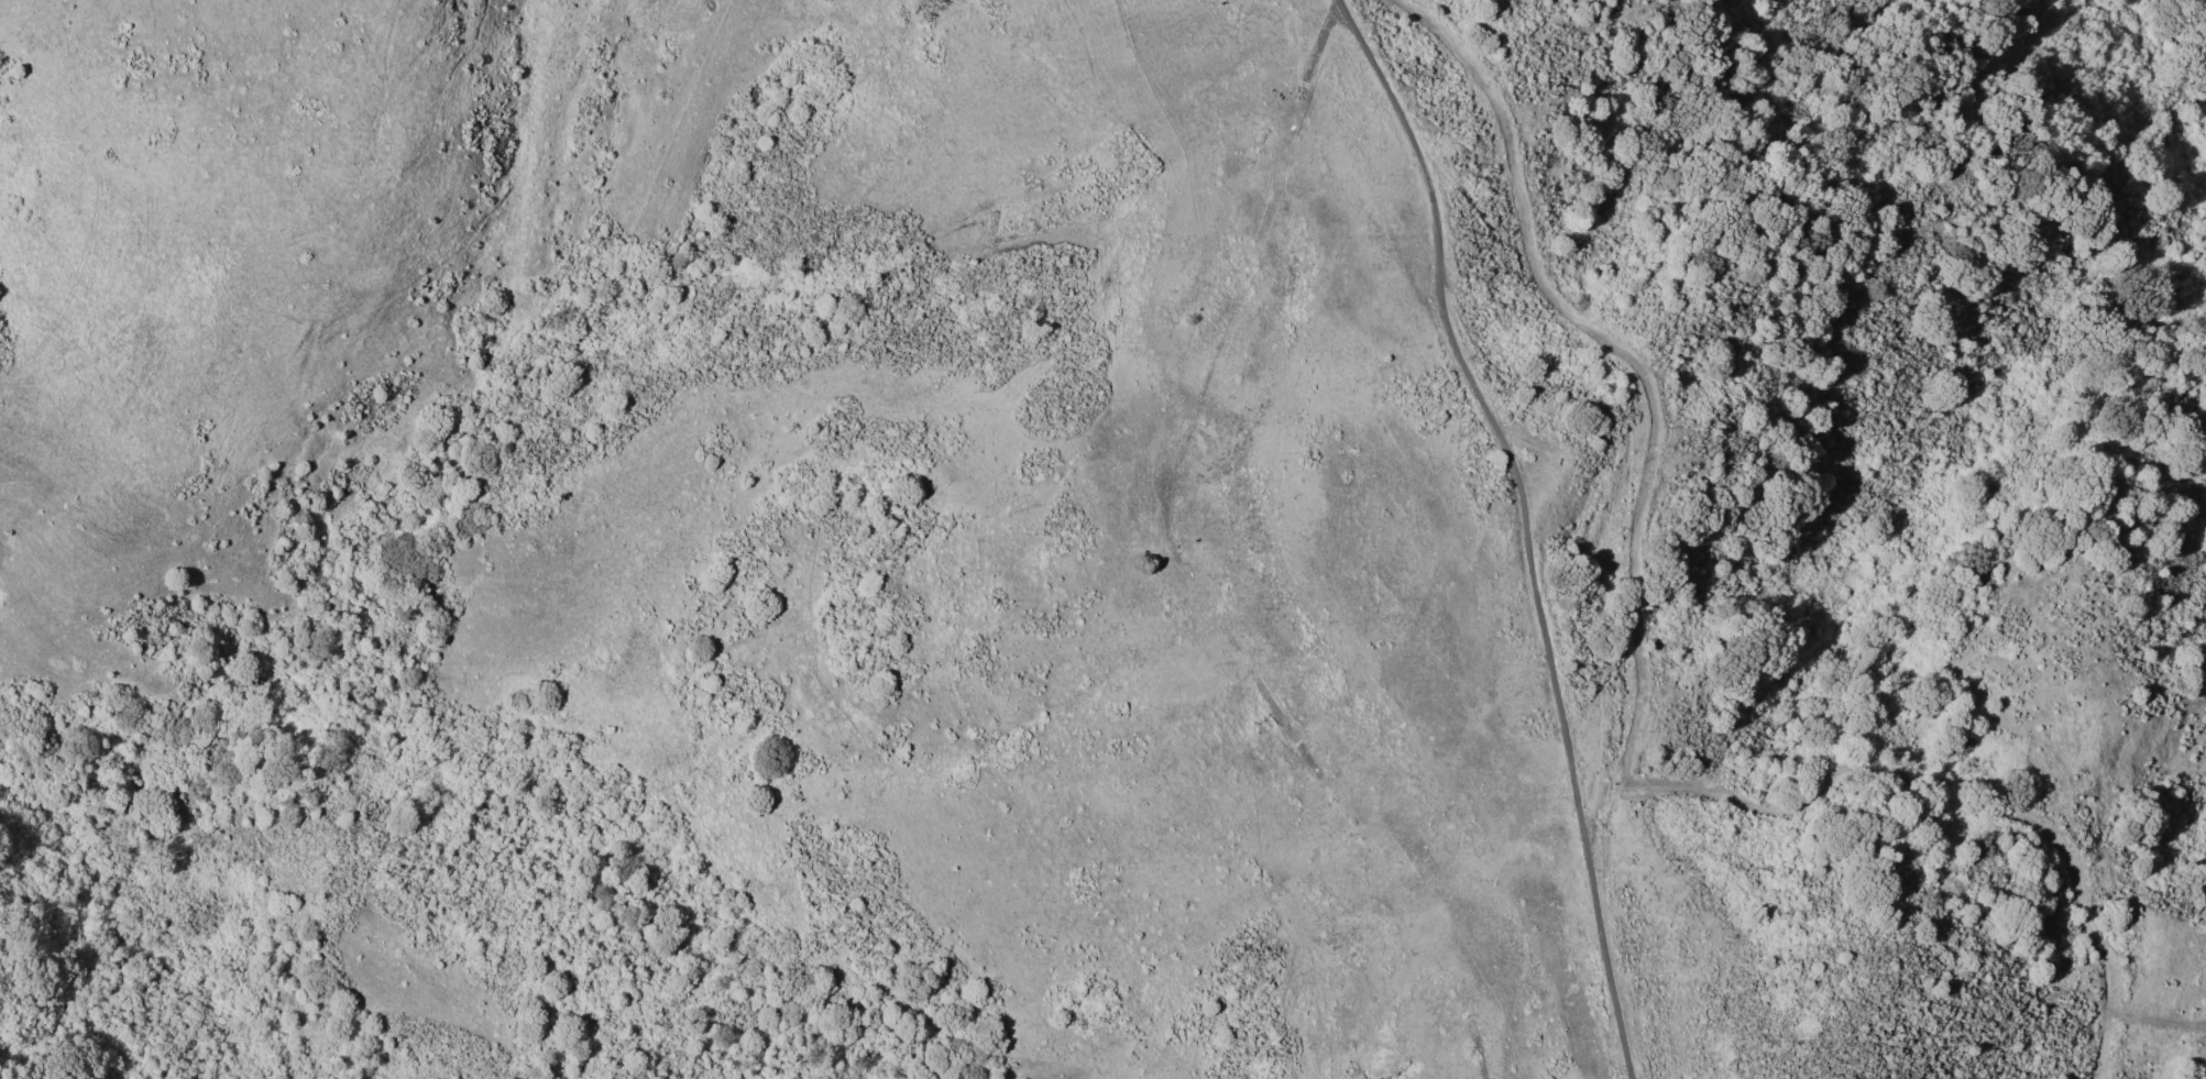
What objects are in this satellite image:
road: (1628, 357)
road: (1485, 412)
road: (1178, 582)
road: (1966, 806)
road: (1595, 808)
road: (1607, 961)
road: (2107, 1048)

